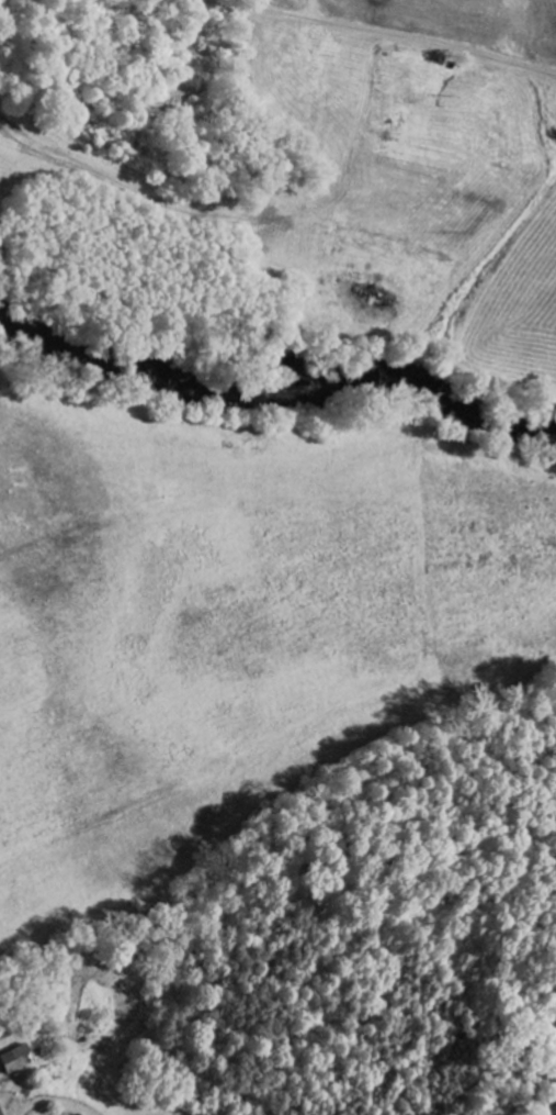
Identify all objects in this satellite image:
road: (397, 35)
river: (275, 379)
building: (15, 1060)
building: (0, 1113)

